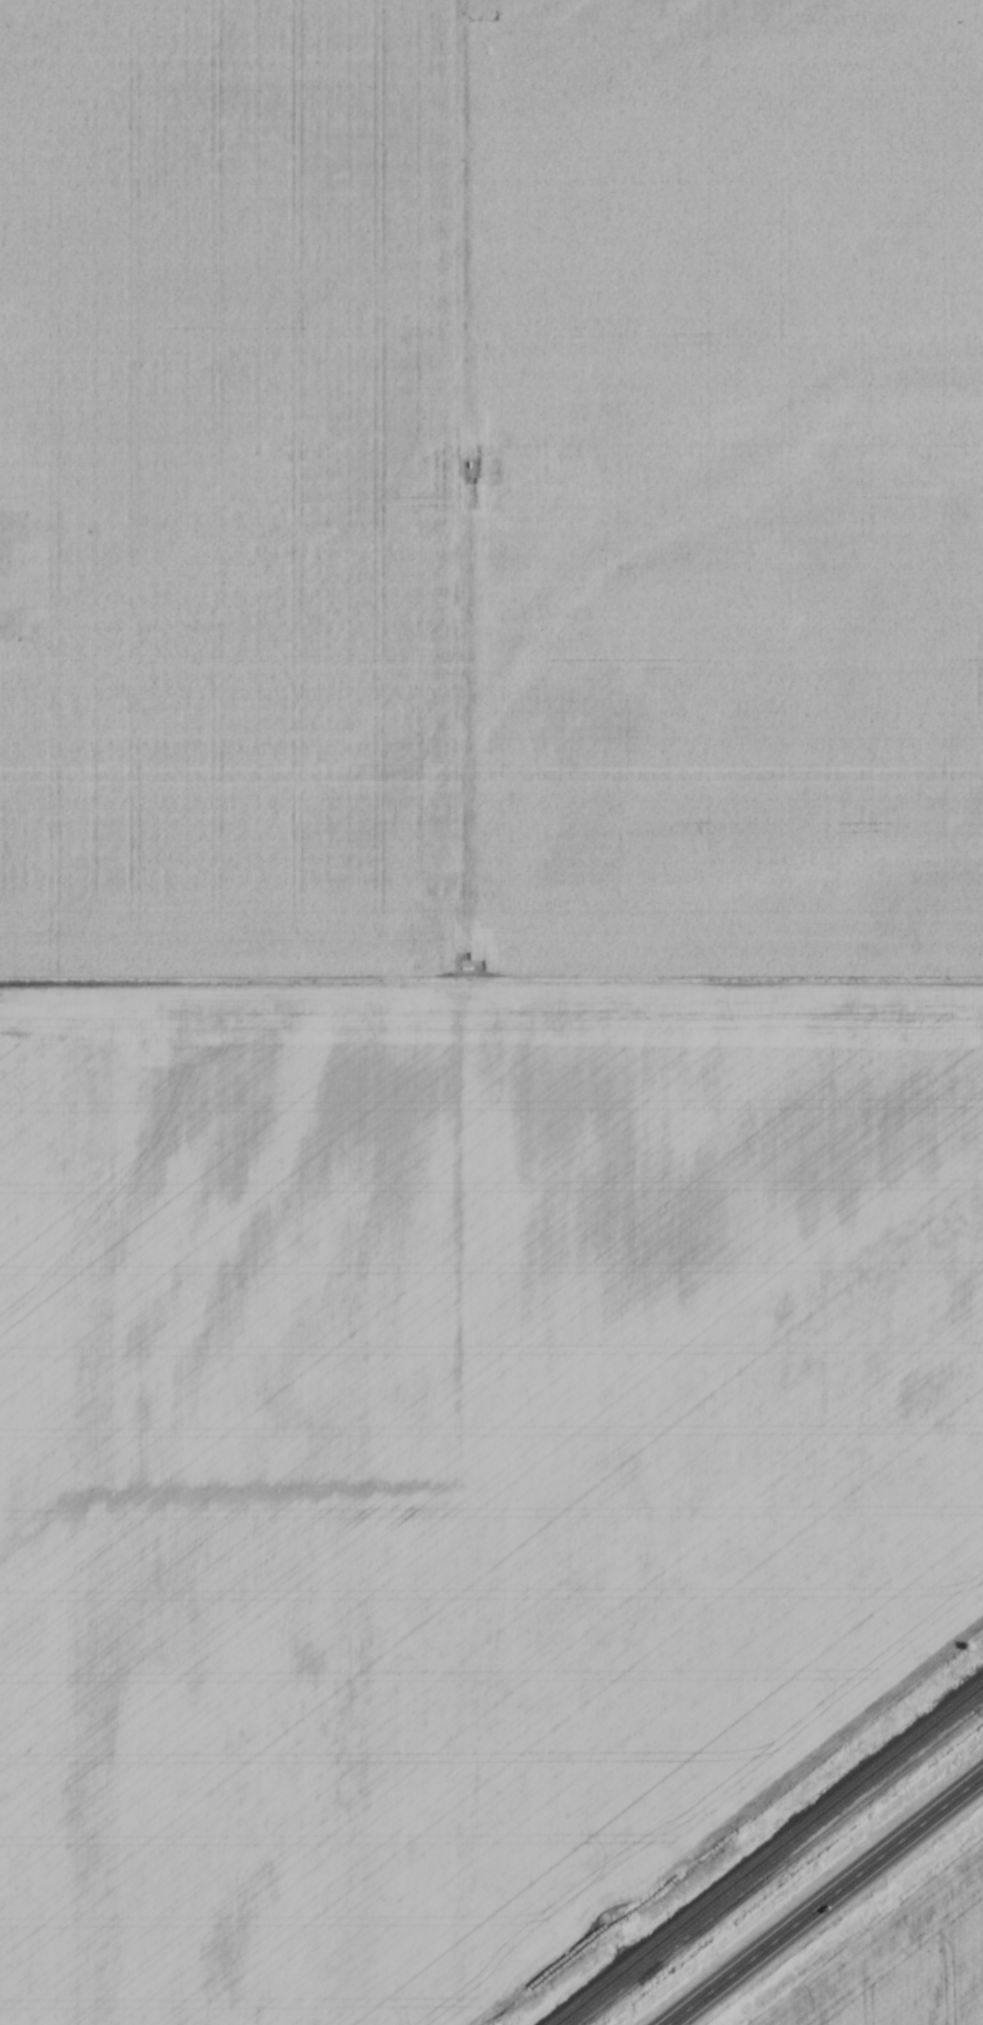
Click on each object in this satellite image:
railway: (765, 1851)
railway: (772, 1857)
road: (828, 1902)

